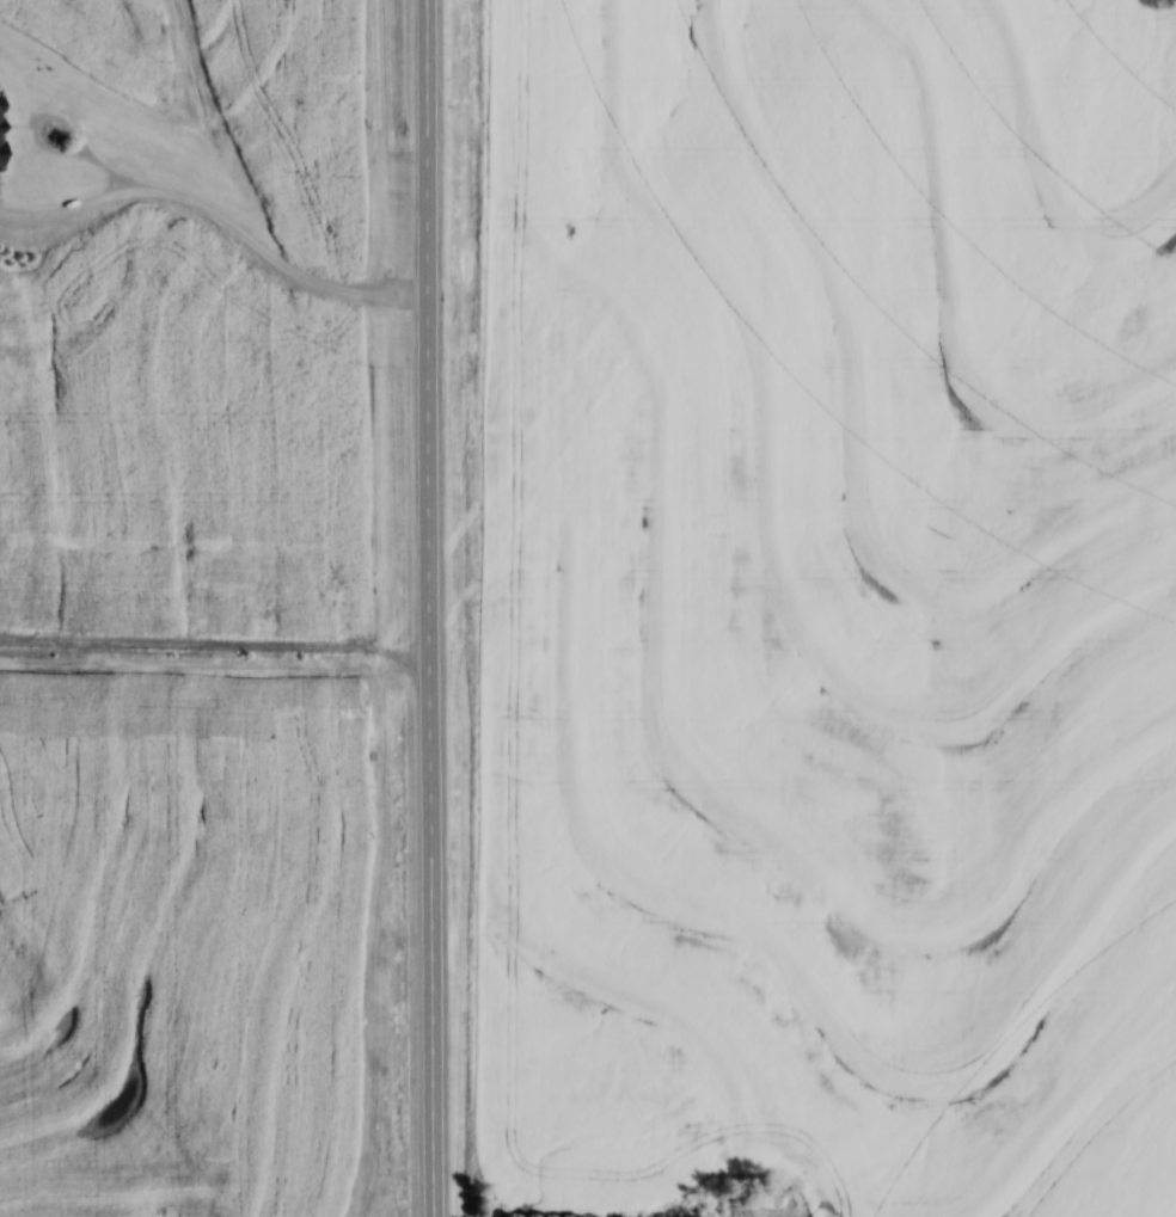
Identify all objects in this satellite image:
road: (49, 112)
building: (4, 135)
road: (220, 213)
road: (431, 608)

